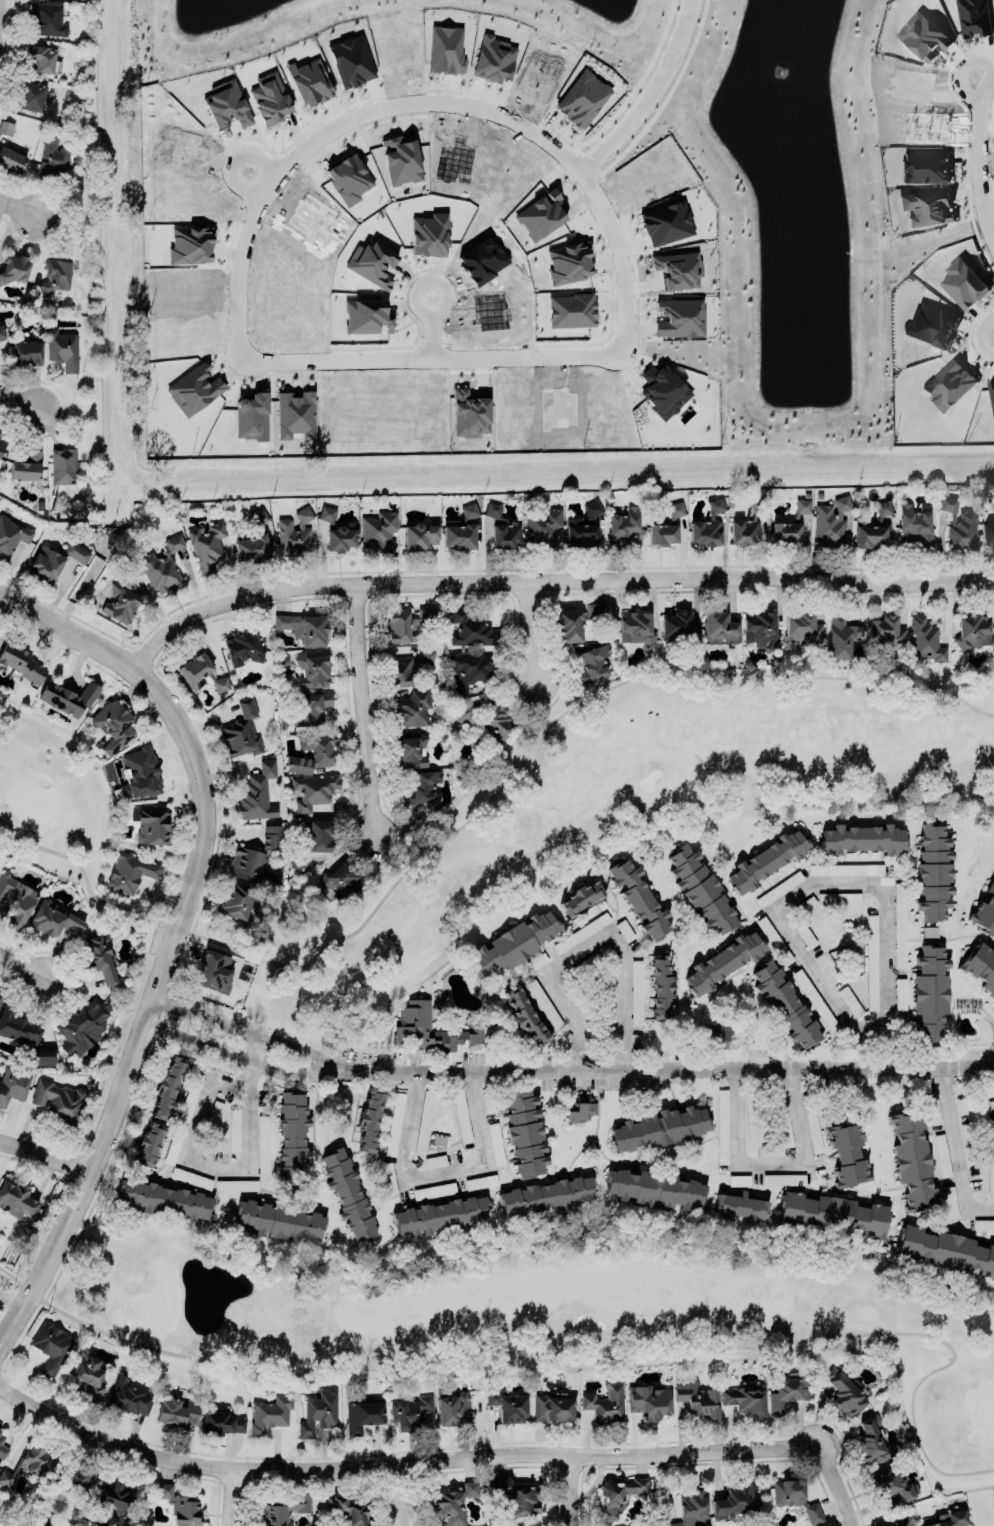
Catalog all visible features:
building: (47, 18)
building: (445, 48)
building: (493, 57)
building: (42, 59)
building: (351, 60)
road: (649, 94)
building: (31, 96)
building: (582, 98)
road: (427, 103)
building: (227, 104)
building: (6, 127)
building: (54, 156)
building: (11, 157)
road: (977, 157)
building: (401, 159)
building: (348, 178)
road: (17, 207)
building: (541, 214)
building: (666, 222)
building: (430, 232)
building: (190, 244)
building: (372, 262)
building: (569, 262)
building: (13, 267)
building: (678, 269)
building: (57, 273)
building: (571, 310)
building: (366, 315)
building: (680, 317)
road: (431, 327)
building: (1, 330)
building: (62, 348)
building: (26, 351)
road: (431, 358)
building: (194, 388)
building: (663, 390)
road: (21, 399)
building: (469, 411)
building: (295, 414)
building: (251, 416)
building: (2, 438)
building: (26, 464)
building: (62, 464)
building: (993, 502)
building: (469, 510)
building: (327, 513)
building: (258, 516)
building: (749, 523)
building: (790, 523)
building: (831, 523)
building: (916, 523)
building: (959, 523)
building: (666, 525)
building: (707, 525)
building: (502, 526)
building: (583, 526)
building: (622, 526)
building: (543, 527)
building: (872, 527)
building: (379, 529)
building: (987, 532)
building: (295, 533)
building: (420, 534)
building: (12, 535)
building: (460, 535)
building: (340, 538)
building: (174, 542)
building: (207, 545)
building: (252, 547)
building: (77, 552)
building: (45, 562)
building: (160, 570)
road: (549, 579)
building: (119, 602)
building: (575, 620)
building: (719, 623)
building: (408, 624)
building: (635, 626)
building: (304, 627)
building: (678, 627)
building: (759, 627)
building: (471, 628)
building: (803, 628)
building: (973, 630)
road: (528, 631)
building: (886, 631)
building: (841, 636)
building: (925, 641)
building: (243, 647)
building: (22, 662)
building: (593, 662)
building: (408, 666)
building: (312, 669)
building: (201, 671)
building: (468, 671)
road: (597, 692)
building: (69, 696)
building: (311, 707)
road: (362, 707)
building: (412, 708)
building: (485, 717)
building: (113, 724)
building: (242, 730)
building: (410, 750)
building: (313, 752)
building: (140, 773)
building: (421, 786)
building: (314, 789)
building: (256, 793)
park: (534, 810)
building: (150, 822)
building: (320, 835)
building: (863, 838)
building: (256, 856)
building: (767, 859)
building: (846, 869)
building: (130, 871)
building: (933, 871)
building: (341, 878)
road: (829, 883)
building: (700, 888)
building: (779, 888)
building: (581, 897)
building: (639, 897)
building: (839, 897)
building: (16, 900)
building: (236, 901)
building: (806, 904)
road: (122, 906)
building: (986, 909)
building: (54, 919)
building: (899, 924)
building: (625, 929)
building: (930, 931)
building: (581, 932)
building: (804, 932)
road: (174, 933)
building: (774, 940)
building: (513, 943)
road: (592, 944)
building: (99, 958)
building: (536, 961)
building: (723, 961)
building: (871, 961)
building: (849, 963)
road: (21, 965)
building: (980, 966)
building: (215, 968)
road: (288, 985)
building: (661, 987)
building: (1, 992)
building: (930, 992)
building: (900, 993)
building: (0, 997)
building: (850, 1000)
building: (816, 1001)
building: (544, 1003)
building: (785, 1003)
building: (526, 1013)
building: (81, 1025)
building: (431, 1027)
road: (253, 1032)
building: (720, 1033)
building: (24, 1035)
road: (247, 1058)
road: (253, 1062)
road: (674, 1068)
building: (13, 1084)
building: (58, 1100)
building: (583, 1108)
building: (933, 1108)
building: (159, 1109)
building: (462, 1115)
building: (183, 1118)
building: (751, 1118)
building: (370, 1119)
building: (783, 1120)
building: (395, 1123)
building: (722, 1126)
building: (659, 1127)
building: (813, 1127)
building: (235, 1129)
building: (525, 1129)
building: (292, 1137)
building: (496, 1143)
building: (263, 1146)
building: (770, 1150)
building: (847, 1151)
road: (955, 1151)
road: (45, 1154)
building: (942, 1154)
building: (990, 1158)
building: (913, 1160)
road: (201, 1161)
road: (771, 1163)
road: (438, 1172)
building: (191, 1177)
building: (389, 1177)
building: (784, 1178)
building: (481, 1181)
building: (236, 1184)
building: (653, 1188)
building: (434, 1190)
building: (348, 1194)
building: (546, 1195)
building: (16, 1198)
building: (164, 1198)
building: (949, 1202)
building: (740, 1206)
building: (834, 1213)
building: (440, 1214)
building: (279, 1220)
building: (983, 1224)
building: (944, 1247)
park: (535, 1312)
building: (51, 1345)
road: (569, 1359)
building: (86, 1369)
building: (788, 1392)
building: (844, 1393)
building: (696, 1397)
building: (129, 1398)
building: (745, 1399)
building: (649, 1401)
building: (605, 1403)
building: (508, 1405)
building: (553, 1408)
building: (454, 1409)
building: (177, 1411)
building: (410, 1411)
building: (318, 1412)
building: (269, 1414)
building: (363, 1414)
building: (222, 1422)
building: (0, 1431)
building: (872, 1441)
building: (3, 1446)
road: (403, 1462)
building: (29, 1465)
building: (70, 1477)
road: (843, 1483)
building: (893, 1486)
road: (574, 1490)
building: (618, 1492)
building: (117, 1493)
road: (404, 1494)
road: (234, 1496)
building: (515, 1497)
building: (795, 1497)
building: (735, 1500)
building: (453, 1502)
building: (693, 1504)
building: (180, 1505)
building: (77, 1509)
building: (285, 1509)
building: (348, 1510)
building: (948, 1517)
building: (45, 1522)
building: (882, 1522)
building: (671, 1523)
building: (529, 1525)

